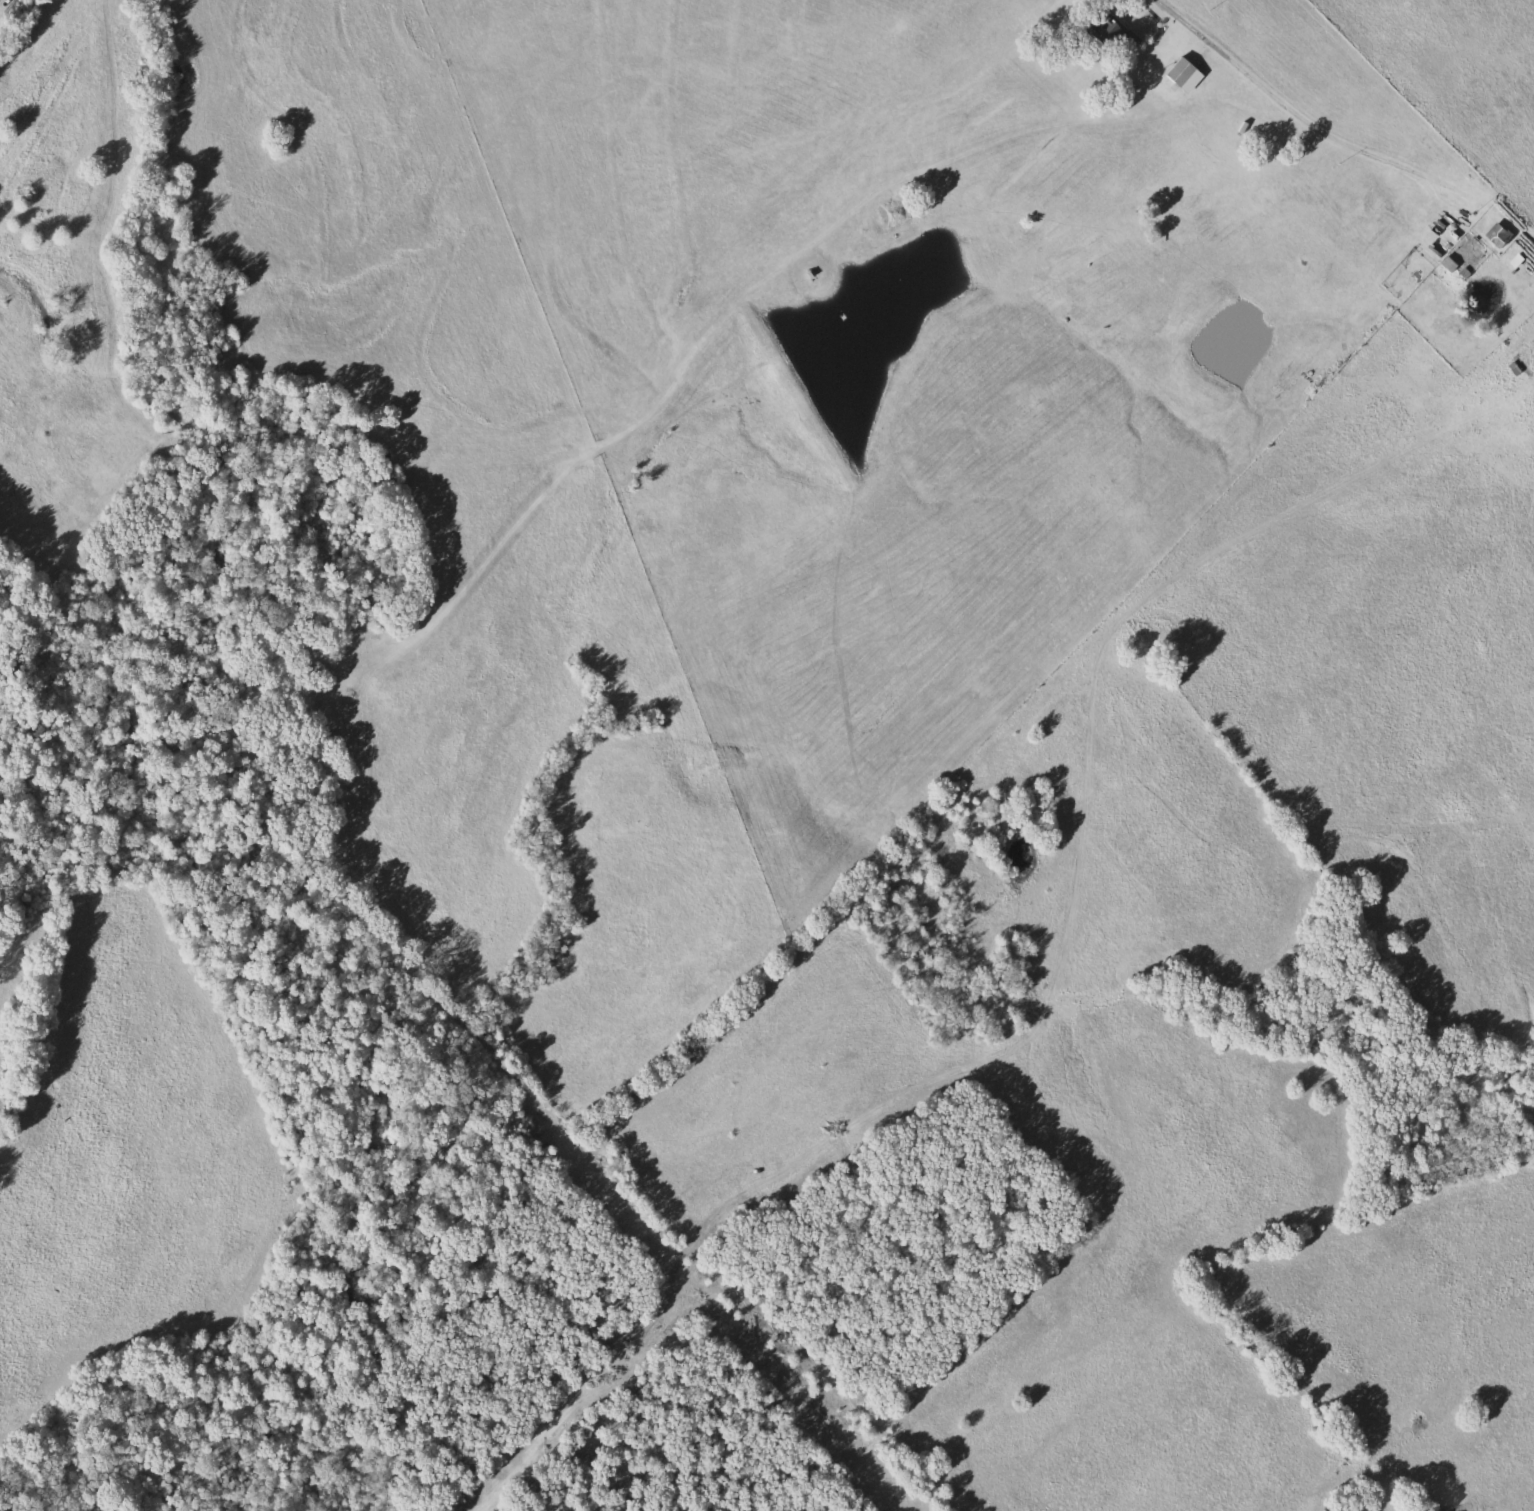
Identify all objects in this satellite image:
building: (1188, 74)
road: (1289, 92)
building: (1503, 234)
building: (1452, 262)

